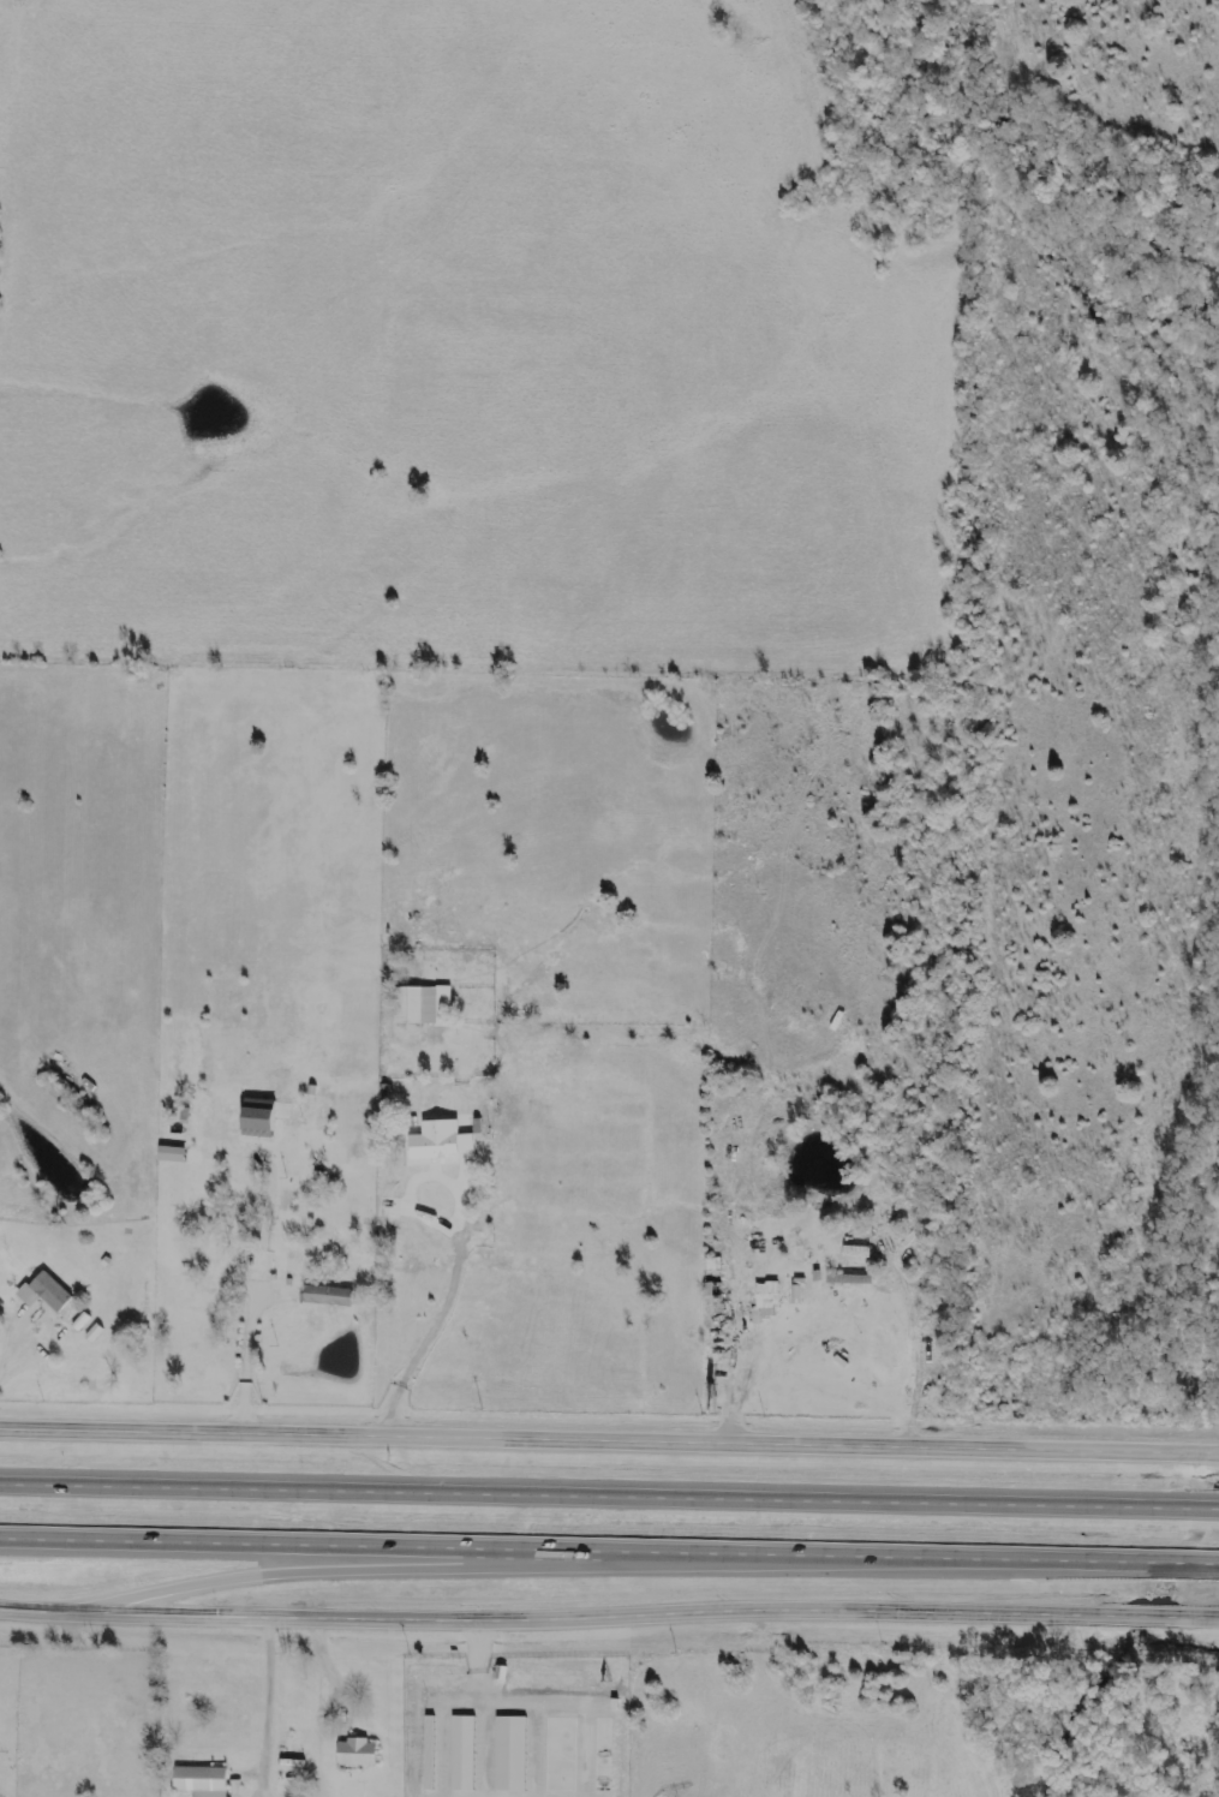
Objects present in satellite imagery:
building: (419, 1008)
building: (264, 1120)
building: (436, 1142)
building: (192, 1154)
building: (282, 1202)
building: (853, 1254)
building: (257, 1261)
building: (219, 1267)
building: (710, 1267)
building: (42, 1295)
building: (325, 1297)
building: (765, 1297)
road: (441, 1309)
road: (50, 1324)
road: (739, 1354)
road: (246, 1363)
road: (609, 1433)
road: (609, 1497)
road: (609, 1553)
road: (312, 1571)
road: (609, 1618)
road: (267, 1708)
building: (467, 1753)
building: (353, 1754)
building: (198, 1781)

